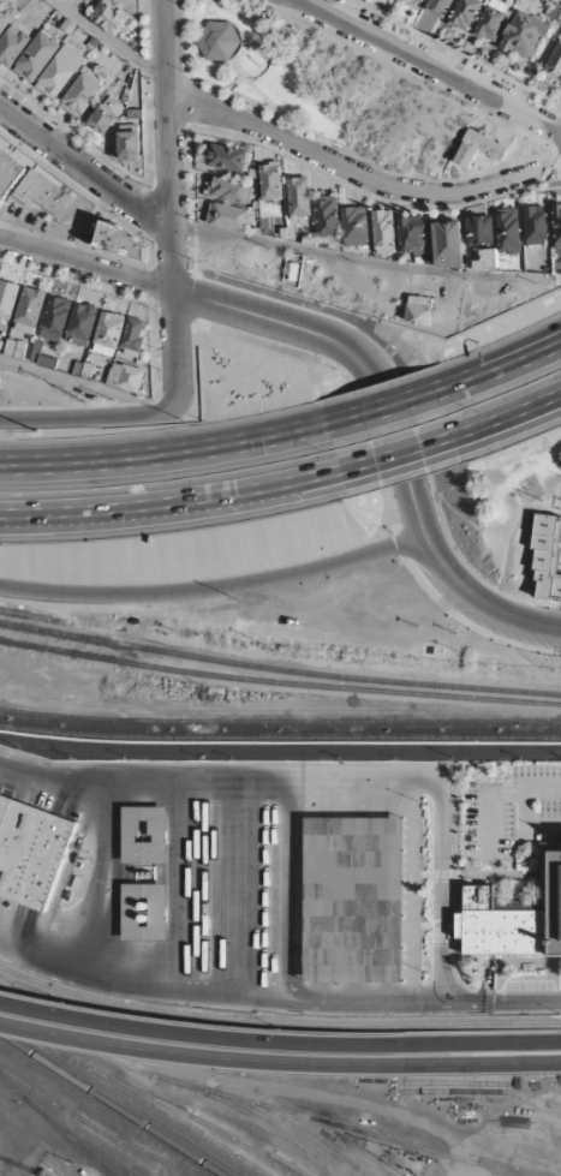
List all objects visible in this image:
building: (417, 1)
building: (438, 7)
building: (464, 13)
building: (109, 17)
building: (5, 19)
building: (491, 19)
building: (524, 35)
building: (219, 40)
road: (111, 41)
building: (12, 44)
building: (36, 56)
building: (554, 62)
road: (430, 65)
building: (59, 72)
building: (82, 94)
road: (171, 111)
building: (106, 117)
building: (130, 147)
building: (479, 147)
building: (229, 156)
road: (84, 168)
building: (8, 173)
road: (362, 174)
building: (270, 180)
building: (229, 187)
building: (43, 193)
building: (299, 197)
building: (228, 215)
building: (328, 219)
building: (536, 223)
building: (356, 226)
building: (557, 226)
building: (479, 228)
building: (508, 229)
building: (384, 231)
building: (413, 233)
building: (120, 240)
building: (448, 243)
road: (174, 257)
road: (366, 257)
building: (487, 257)
building: (7, 297)
road: (198, 299)
building: (29, 309)
building: (419, 309)
building: (55, 317)
building: (82, 323)
building: (108, 332)
building: (132, 336)
road: (175, 350)
road: (502, 352)
road: (503, 365)
building: (84, 369)
building: (126, 376)
road: (73, 381)
road: (383, 399)
road: (386, 407)
road: (507, 414)
road: (86, 418)
road: (268, 431)
road: (509, 432)
road: (163, 453)
road: (396, 454)
road: (401, 470)
road: (171, 501)
road: (221, 511)
road: (7, 513)
road: (429, 543)
building: (545, 560)
road: (215, 587)
railway: (34, 615)
railway: (279, 670)
railway: (279, 681)
road: (280, 710)
railway: (280, 720)
railway: (280, 738)
railway: (280, 742)
road: (506, 795)
road: (524, 806)
road: (488, 807)
road: (111, 825)
building: (144, 835)
building: (32, 848)
building: (353, 900)
building: (144, 913)
building: (515, 919)
road: (42, 953)
road: (322, 997)
railway: (276, 1023)
railway: (32, 1034)
road: (201, 1035)
railway: (10, 1038)
road: (483, 1043)
road: (201, 1057)
road: (483, 1064)
railway: (177, 1081)
railway: (555, 1108)
railway: (125, 1109)
railway: (106, 1110)
railway: (169, 1110)
railway: (156, 1116)
railway: (281, 1117)
railway: (85, 1121)
railway: (56, 1126)
railway: (316, 1127)
railway: (216, 1128)
railway: (407, 1144)
railway: (135, 1146)
railway: (265, 1150)
railway: (95, 1151)
railway: (151, 1151)
railway: (179, 1169)
railway: (111, 1172)

